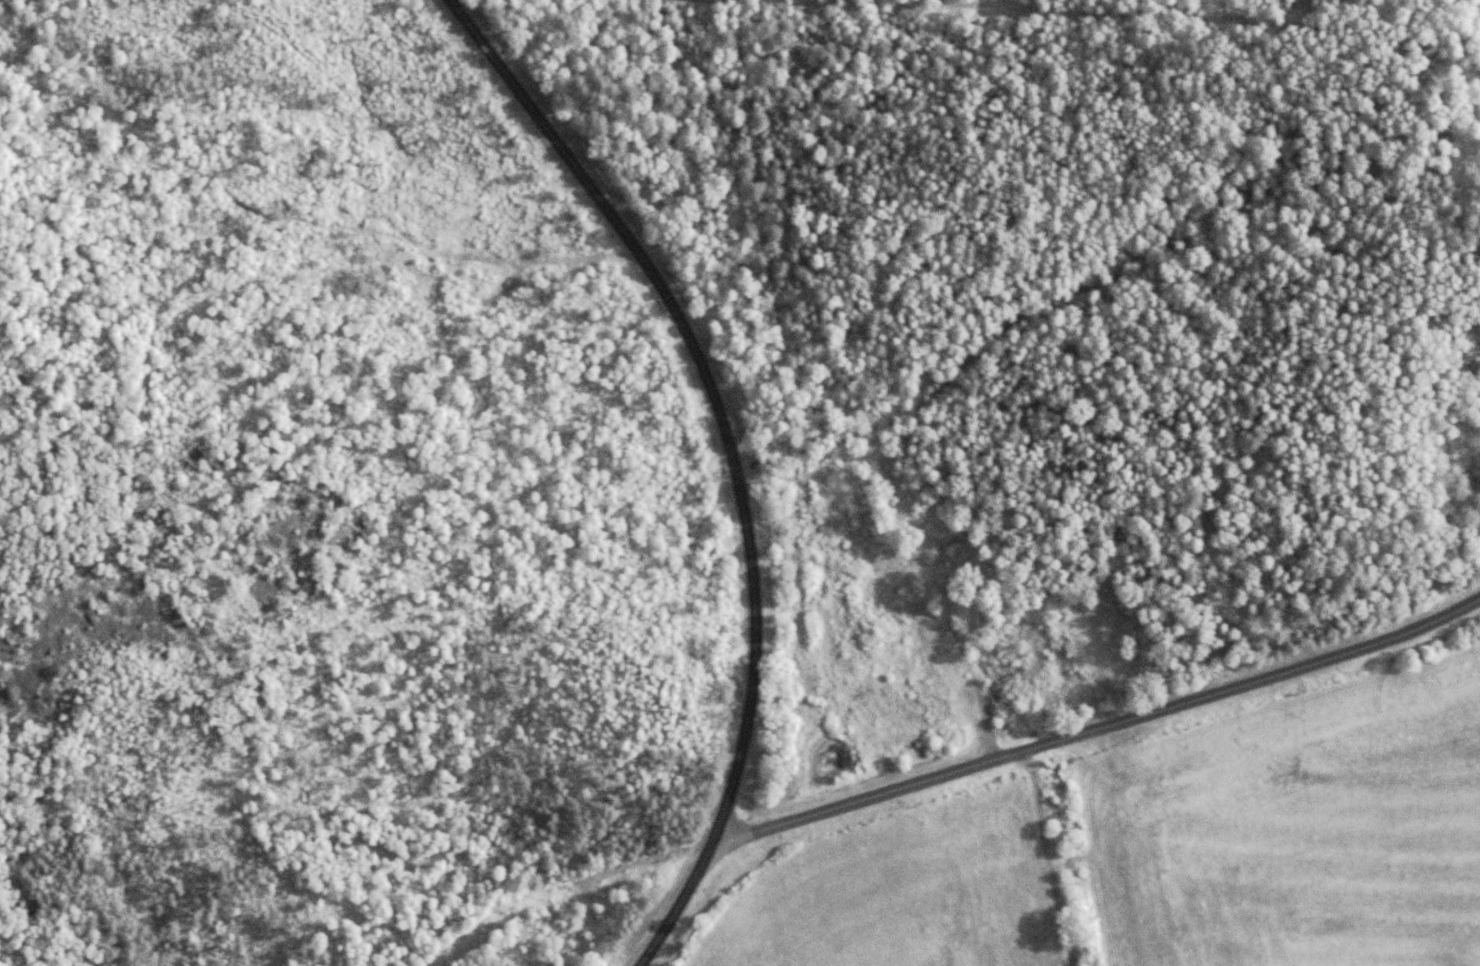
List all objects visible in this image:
road: (728, 454)
road: (1100, 728)

